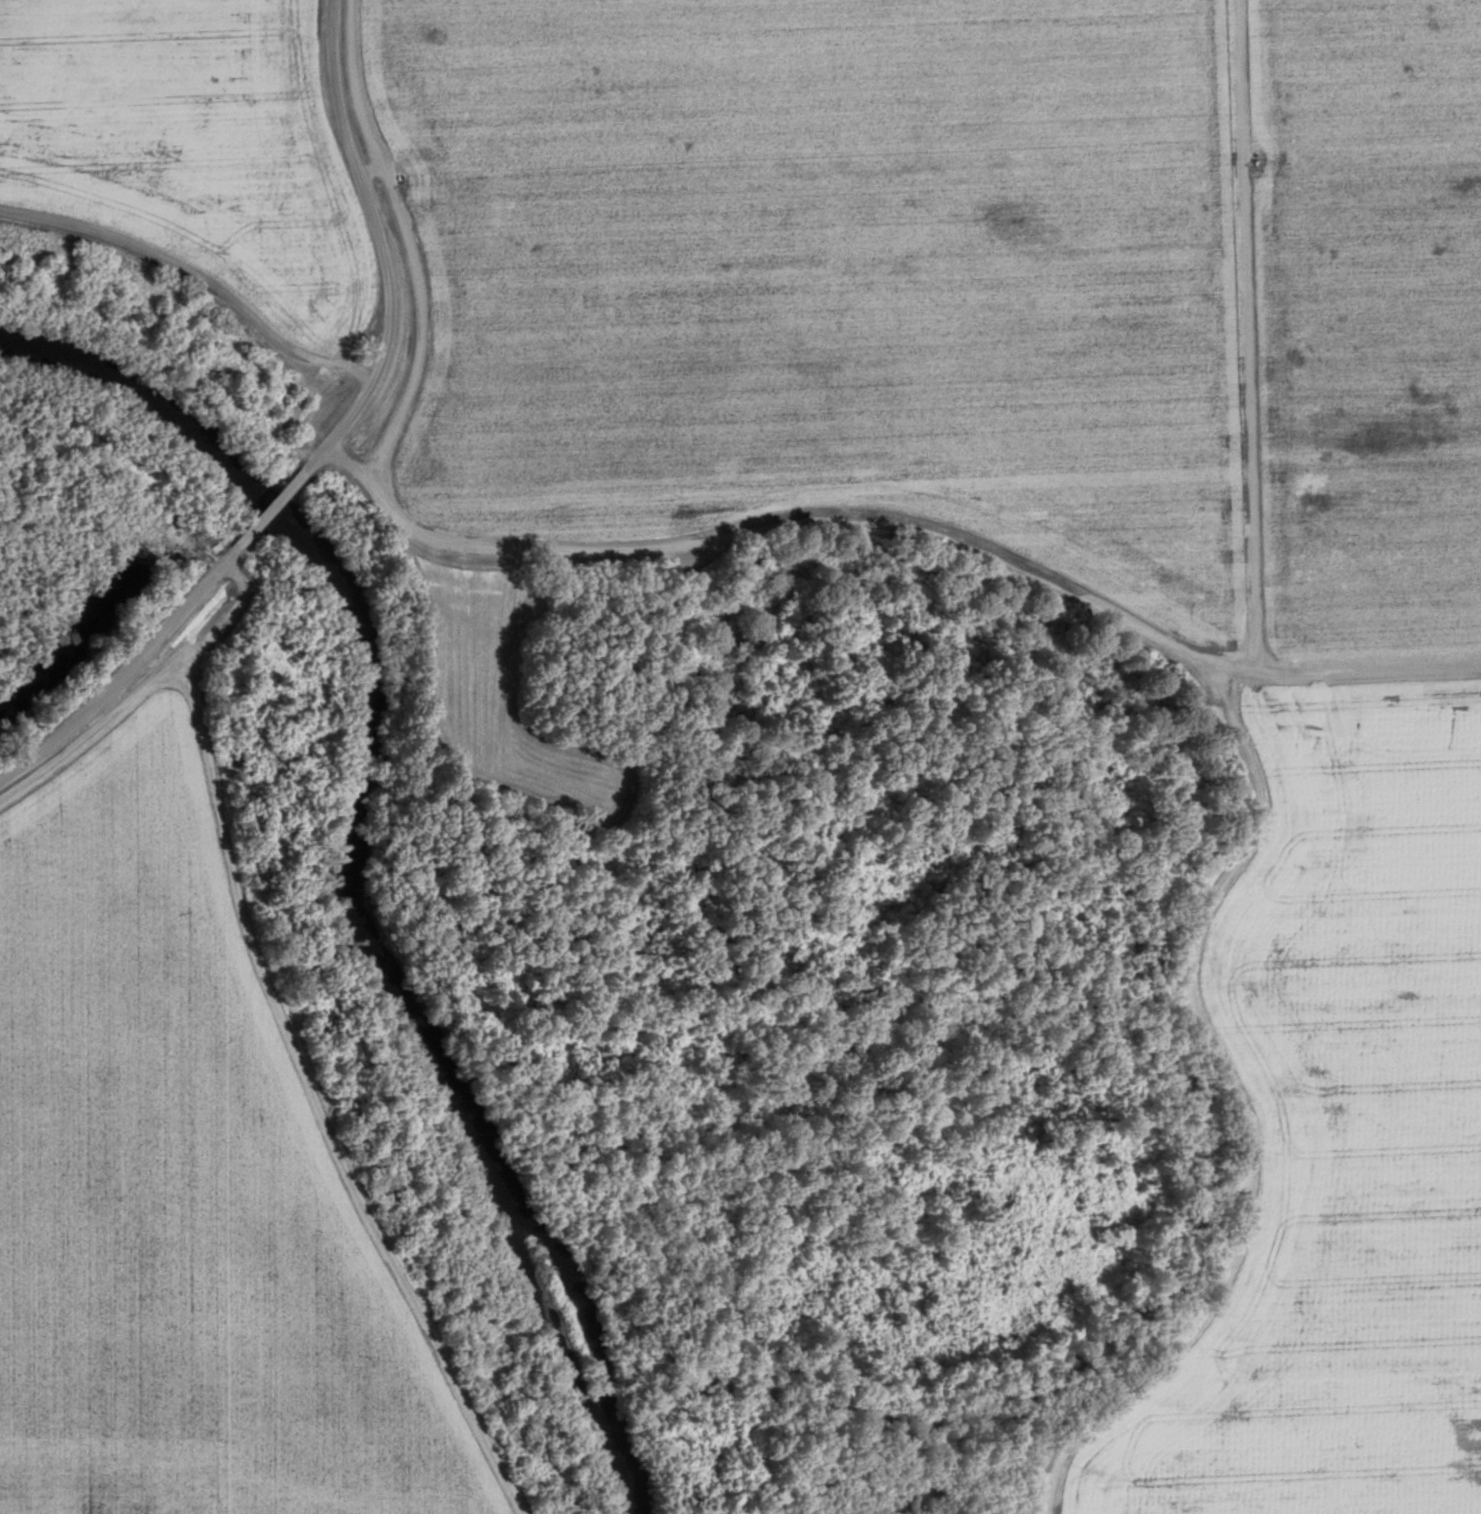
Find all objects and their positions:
road: (381, 246)
road: (267, 511)
road: (123, 677)

